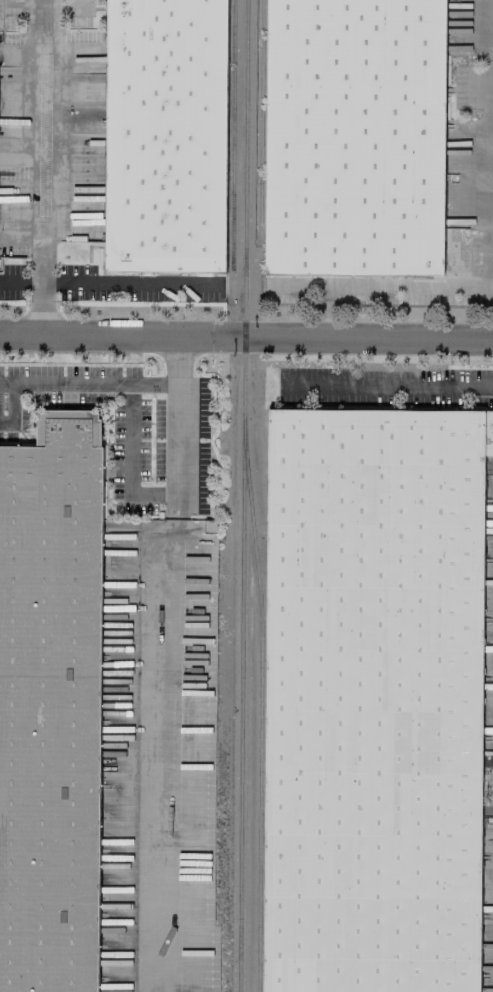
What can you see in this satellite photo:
road: (22, 2)
railway: (259, 114)
building: (166, 130)
building: (355, 131)
railway: (231, 134)
road: (44, 142)
road: (128, 284)
road: (44, 287)
road: (246, 338)
road: (86, 380)
road: (391, 386)
road: (10, 405)
road: (126, 458)
railway: (240, 495)
road: (169, 664)
building: (373, 699)
building: (51, 702)
railway: (257, 713)

